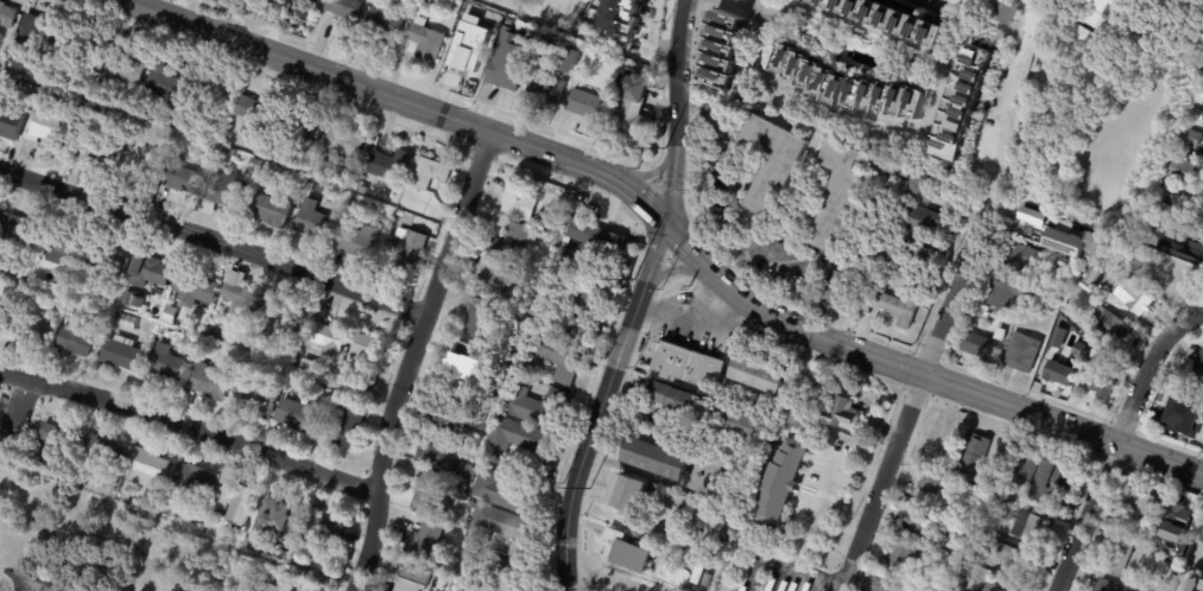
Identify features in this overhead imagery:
building: (747, 0)
building: (314, 1)
road: (933, 2)
building: (346, 8)
building: (422, 9)
building: (1098, 12)
building: (1006, 13)
building: (7, 15)
building: (876, 19)
building: (384, 23)
building: (618, 31)
building: (1082, 37)
building: (426, 40)
building: (854, 42)
building: (30, 43)
building: (723, 50)
building: (1104, 57)
building: (70, 58)
building: (466, 58)
building: (607, 58)
building: (569, 61)
building: (124, 71)
building: (812, 72)
building: (507, 75)
building: (167, 85)
building: (545, 90)
building: (215, 91)
building: (59, 95)
building: (86, 96)
building: (888, 99)
building: (957, 102)
building: (83, 106)
building: (589, 107)
building: (635, 109)
road: (838, 109)
road: (1007, 112)
building: (258, 116)
building: (10, 125)
building: (50, 128)
building: (302, 128)
building: (1191, 136)
building: (343, 142)
power tower: (661, 150)
building: (230, 153)
building: (137, 154)
building: (94, 157)
building: (773, 158)
building: (390, 166)
building: (261, 167)
building: (1185, 170)
building: (425, 176)
building: (182, 178)
building: (924, 180)
building: (362, 191)
building: (838, 191)
building: (224, 195)
road: (729, 199)
building: (444, 201)
building: (520, 202)
building: (359, 209)
building: (413, 209)
building: (1166, 210)
building: (271, 211)
building: (422, 212)
building: (1036, 215)
building: (917, 217)
building: (315, 223)
traffic signals: (663, 223)
building: (1159, 224)
building: (555, 227)
parking lot: (752, 228)
road: (669, 229)
building: (20, 234)
building: (595, 235)
building: (515, 239)
road: (213, 240)
building: (1151, 240)
building: (360, 241)
building: (1069, 241)
building: (409, 250)
building: (63, 254)
building: (1098, 254)
building: (899, 259)
building: (1025, 259)
building: (110, 265)
building: (1169, 272)
building: (150, 273)
building: (498, 277)
power tower: (631, 278)
building: (1089, 278)
building: (1065, 287)
building: (195, 290)
building: (841, 291)
building: (1009, 291)
building: (1133, 295)
road: (945, 297)
road: (637, 298)
building: (131, 299)
building: (1060, 299)
building: (239, 300)
building: (523, 303)
building: (899, 306)
building: (335, 309)
building: (578, 310)
building: (170, 316)
building: (347, 316)
building: (480, 317)
building: (281, 319)
building: (127, 322)
building: (1026, 322)
building: (1109, 329)
building: (30, 332)
building: (1001, 333)
building: (328, 338)
building: (75, 344)
building: (210, 344)
building: (979, 344)
building: (640, 345)
building: (369, 349)
building: (1022, 351)
building: (552, 354)
building: (121, 356)
road: (409, 358)
building: (466, 361)
building: (166, 364)
building: (688, 364)
building: (1199, 369)
building: (1059, 373)
building: (761, 375)
building: (209, 385)
building: (1101, 386)
building: (325, 387)
building: (258, 395)
building: (460, 401)
building: (534, 403)
building: (802, 407)
building: (711, 409)
building: (1195, 411)
building: (842, 412)
road: (14, 417)
building: (297, 418)
building: (348, 426)
road: (188, 431)
building: (53, 432)
building: (520, 438)
road: (1115, 440)
building: (106, 451)
building: (444, 451)
building: (979, 451)
building: (58, 452)
building: (933, 457)
road: (1, 458)
building: (42, 459)
building: (659, 459)
building: (146, 469)
building: (1021, 470)
road: (884, 472)
road: (644, 474)
building: (468, 475)
building: (954, 479)
building: (78, 481)
building: (785, 482)
building: (932, 482)
building: (1056, 482)
building: (195, 483)
building: (981, 484)
power tower: (585, 489)
building: (463, 491)
building: (505, 491)
building: (432, 494)
building: (629, 495)
building: (235, 500)
building: (474, 506)
building: (1139, 508)
road: (599, 513)
building: (280, 514)
road: (813, 517)
building: (987, 519)
building: (1179, 521)
building: (1032, 525)
building: (920, 526)
building: (502, 527)
building: (323, 536)
building: (1202, 538)
building: (430, 542)
park: (109, 548)
building: (632, 553)
building: (907, 555)
building: (982, 557)
building: (1120, 557)
building: (303, 558)
building: (1015, 561)
building: (1176, 563)
road: (787, 567)
building: (500, 570)
building: (1188, 570)
building: (678, 572)
building: (414, 579)
road: (844, 580)
building: (1170, 580)
road: (870, 582)
building: (958, 582)
building: (324, 584)
building: (1108, 585)
building: (277, 586)
building: (1003, 586)
building: (476, 590)

